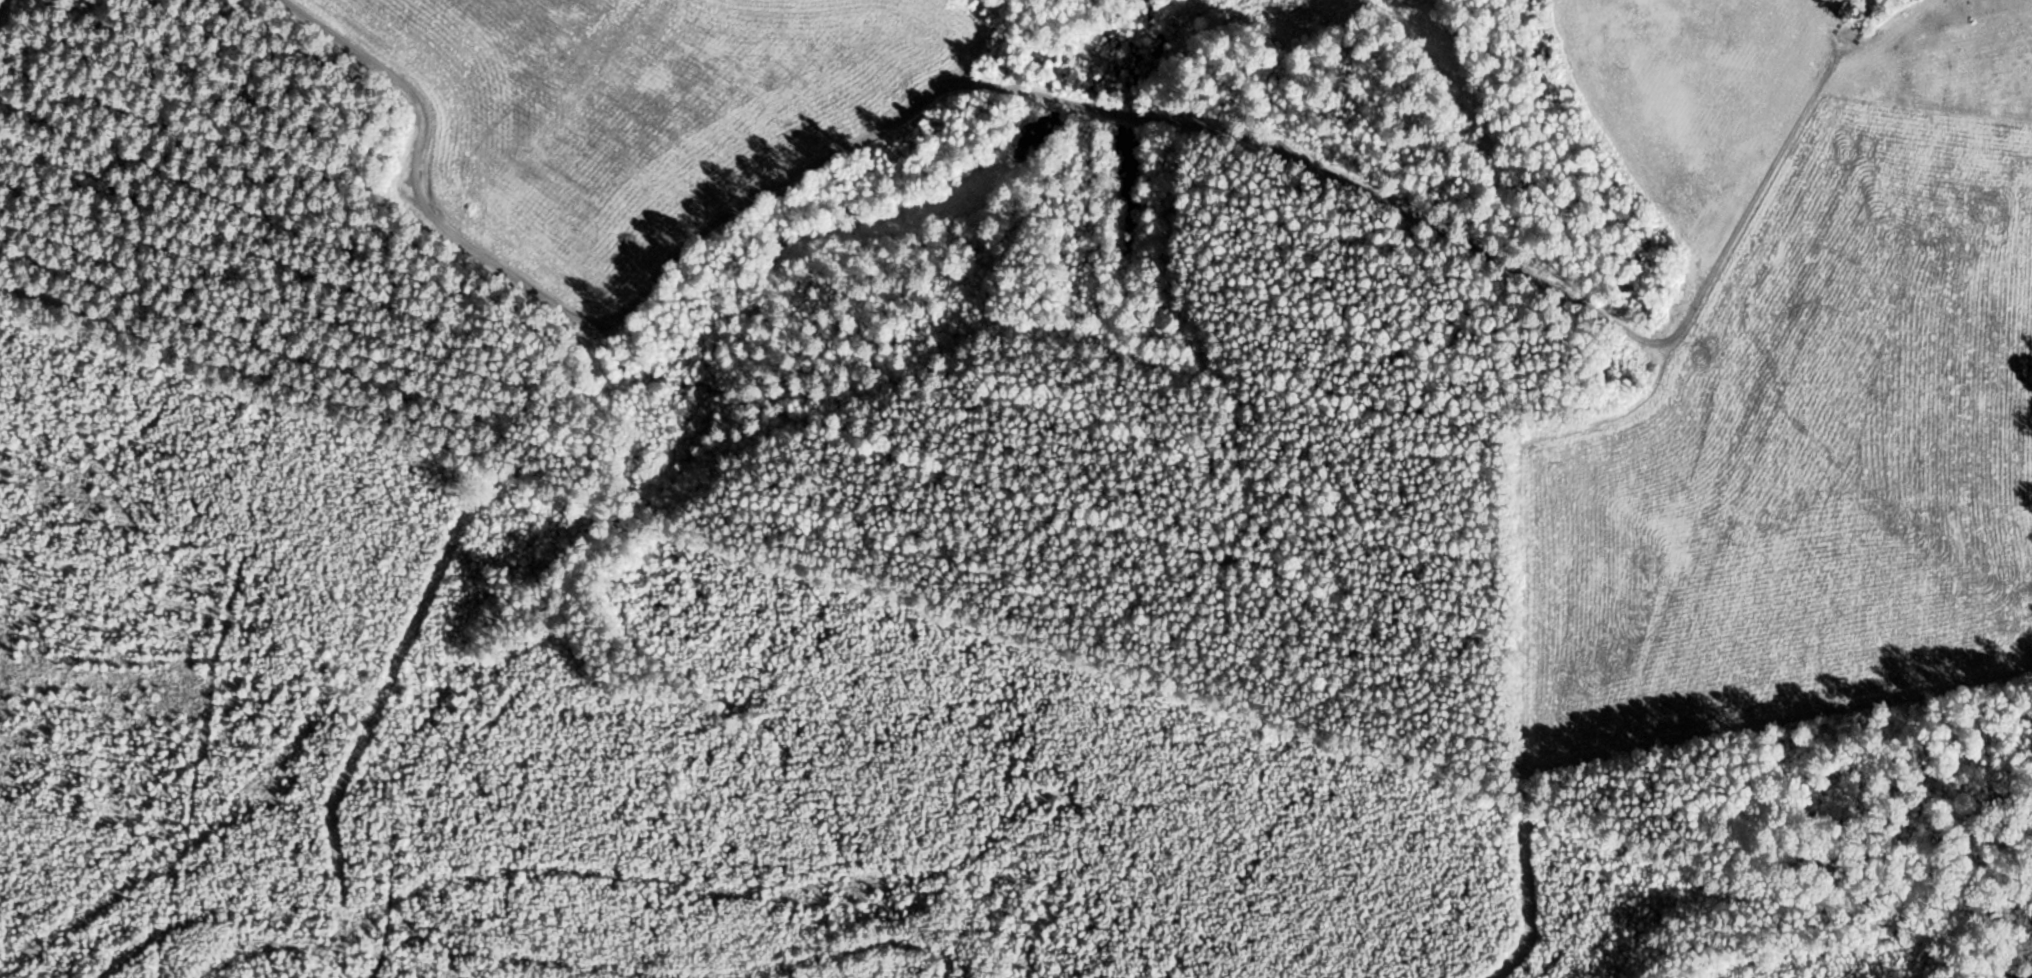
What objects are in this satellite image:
park: (1196, 345)
park: (688, 750)

